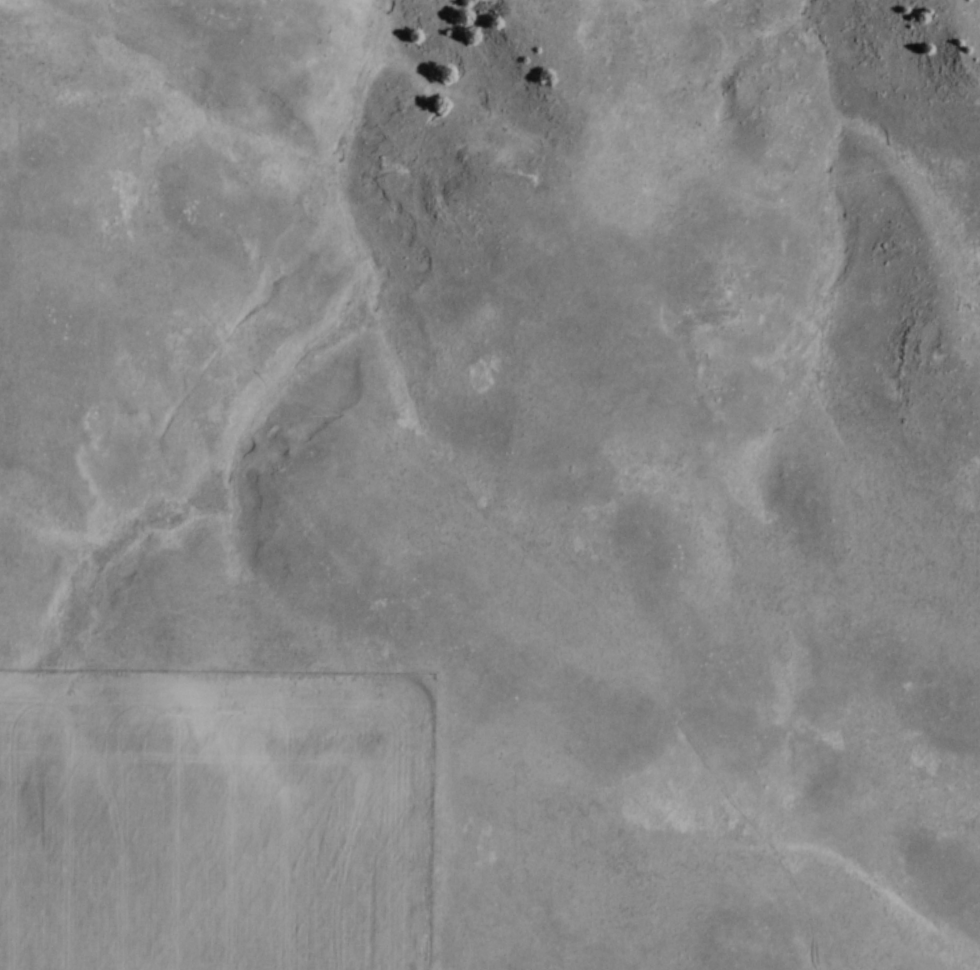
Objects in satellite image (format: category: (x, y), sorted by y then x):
crop: (215, 818)

